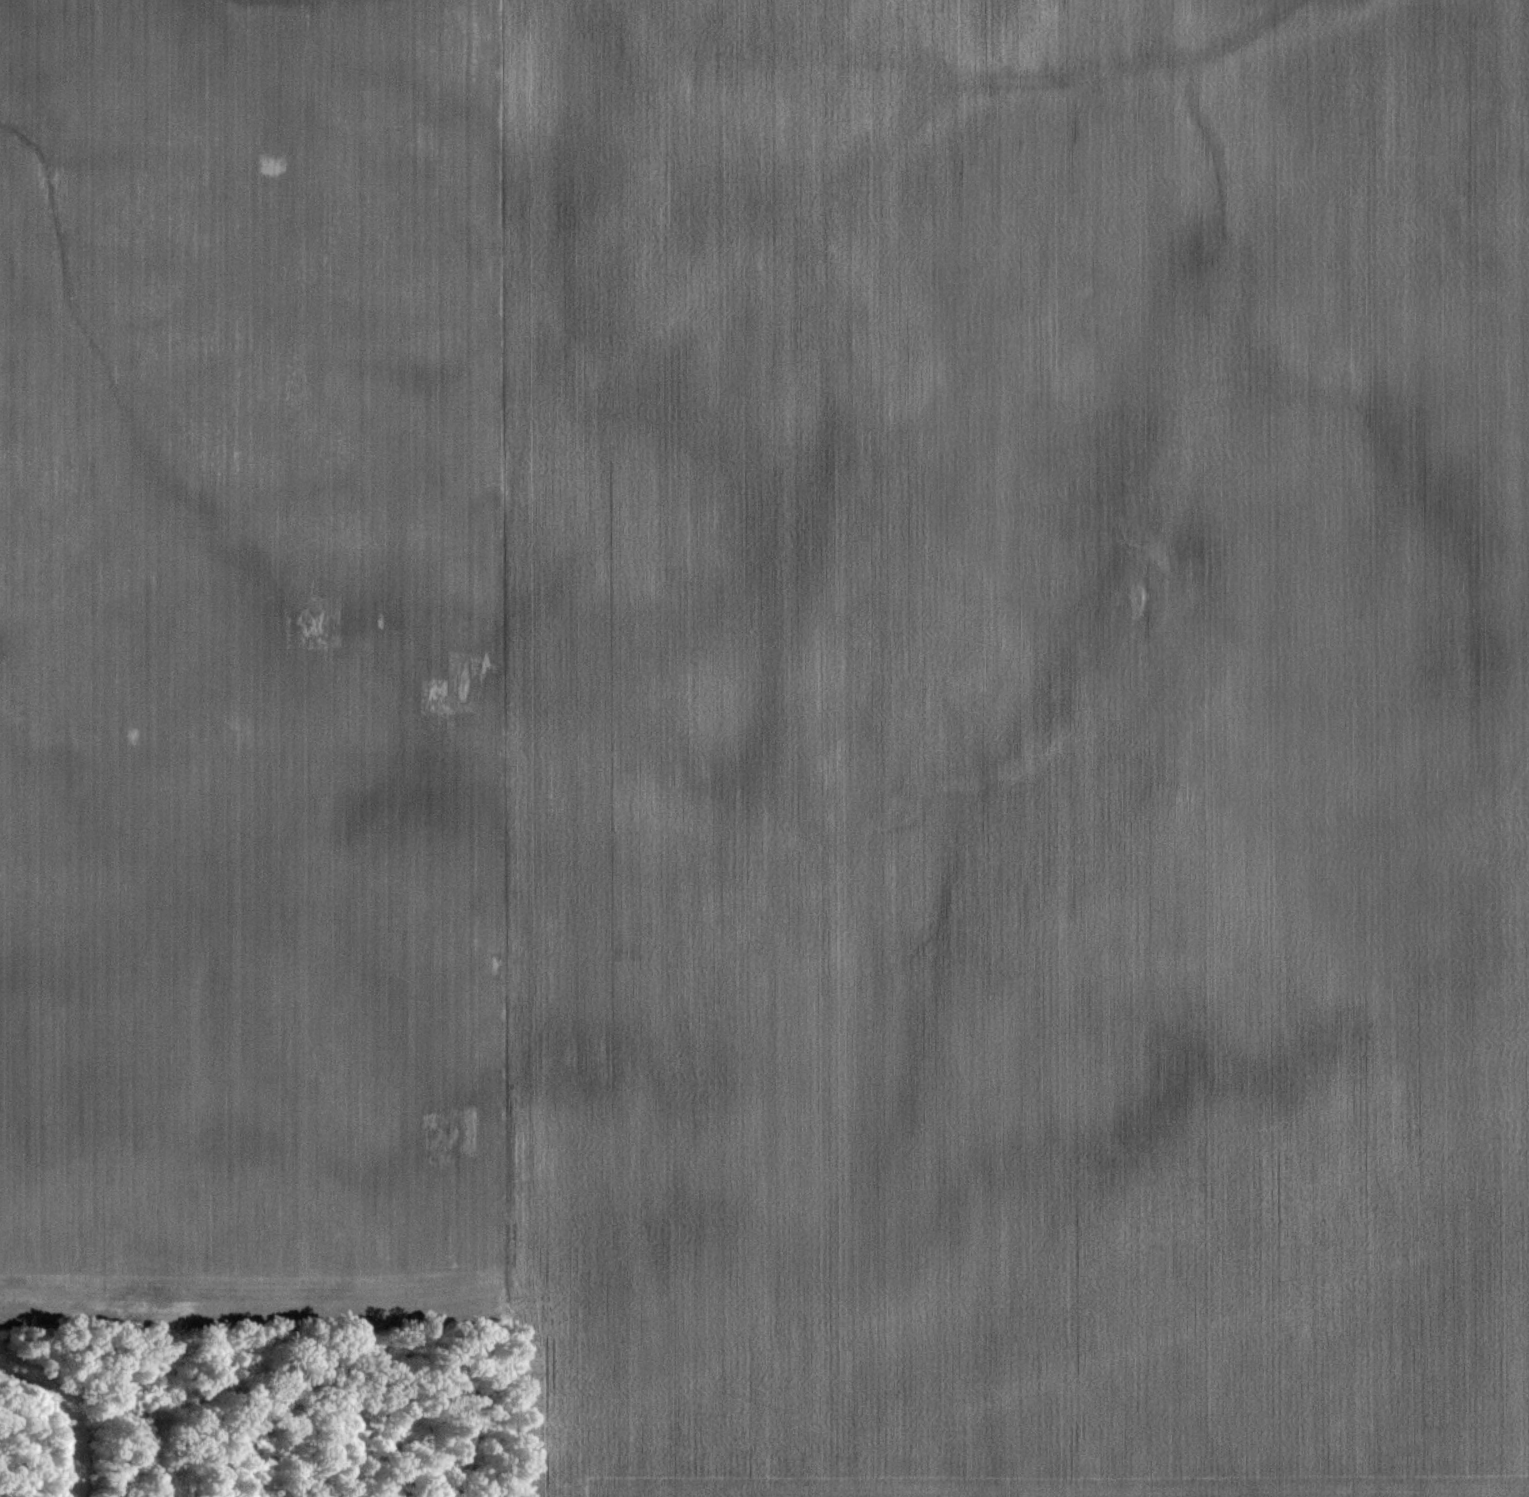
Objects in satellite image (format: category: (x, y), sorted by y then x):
crop: (243, 654)
crop: (1018, 748)

